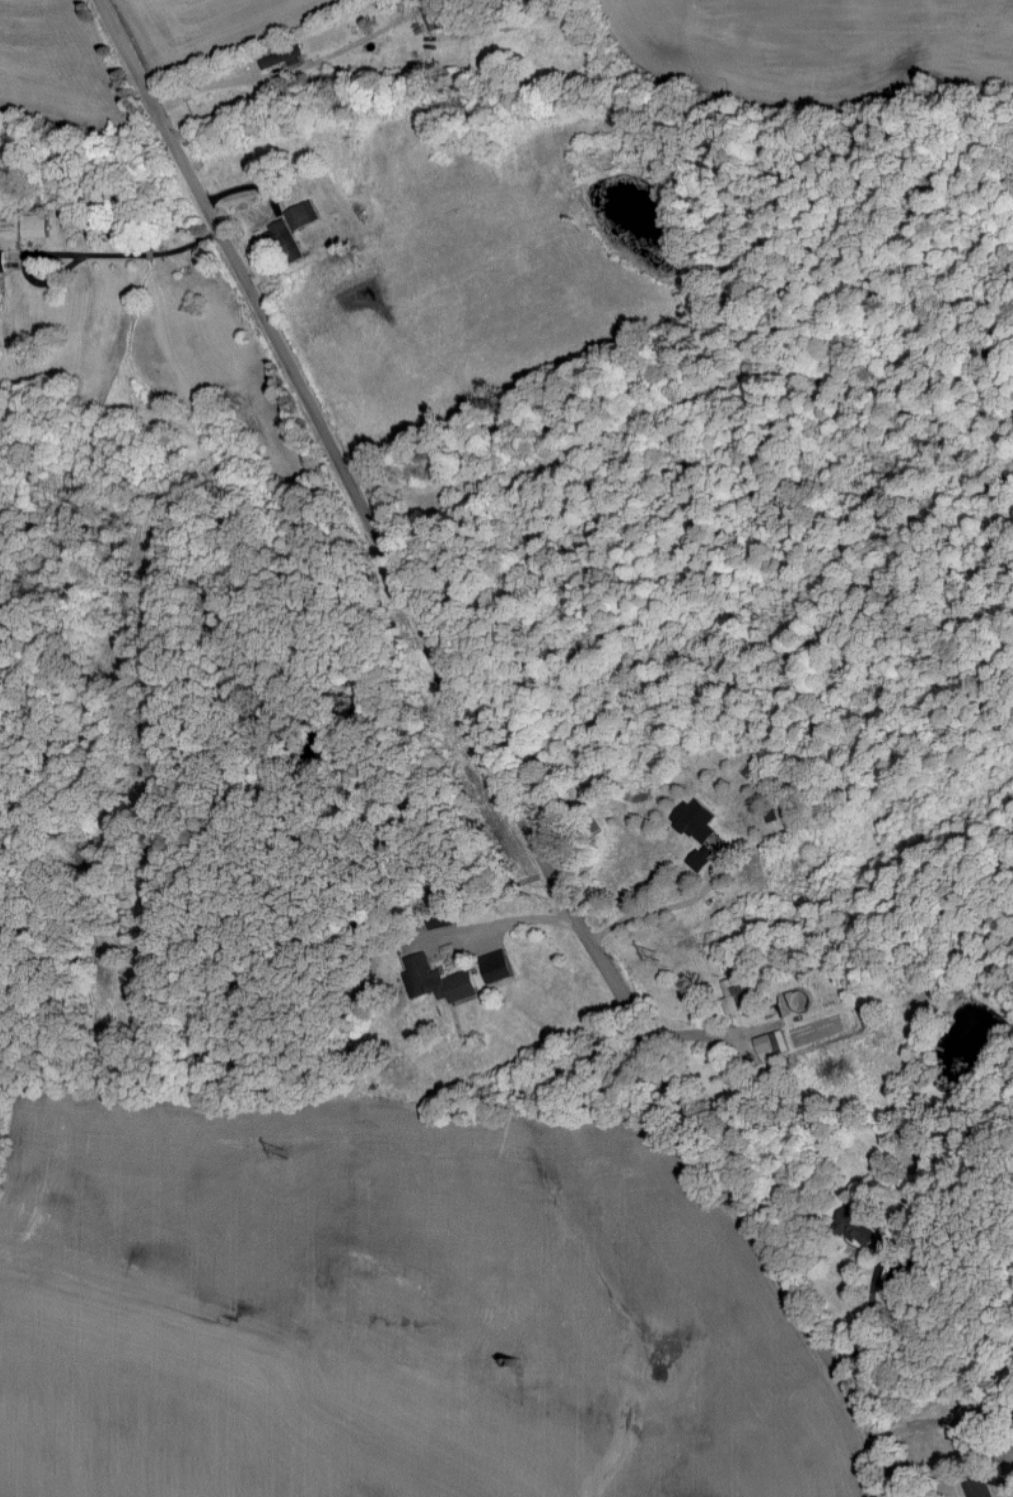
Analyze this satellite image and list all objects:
road: (232, 82)
building: (36, 226)
road: (150, 253)
road: (32, 257)
building: (2, 269)
road: (480, 762)
building: (697, 821)
building: (703, 858)
building: (443, 920)
road: (656, 922)
road: (506, 932)
building: (497, 967)
building: (438, 981)
building: (736, 999)
building: (857, 1226)
building: (978, 1487)

